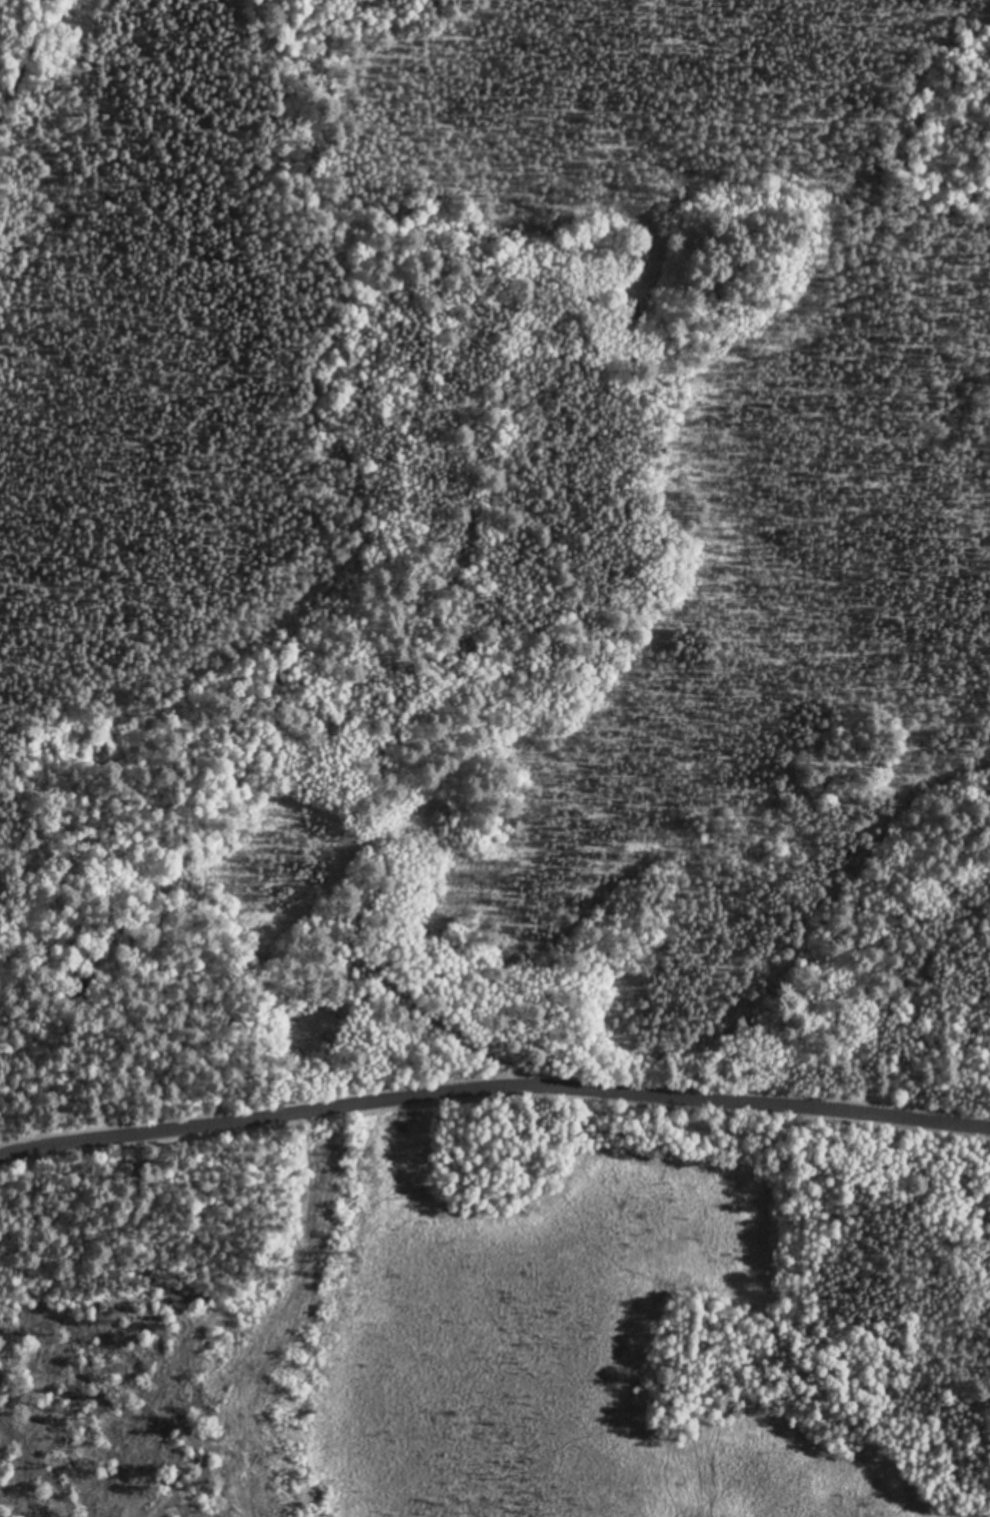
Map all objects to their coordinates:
road: (492, 1072)

